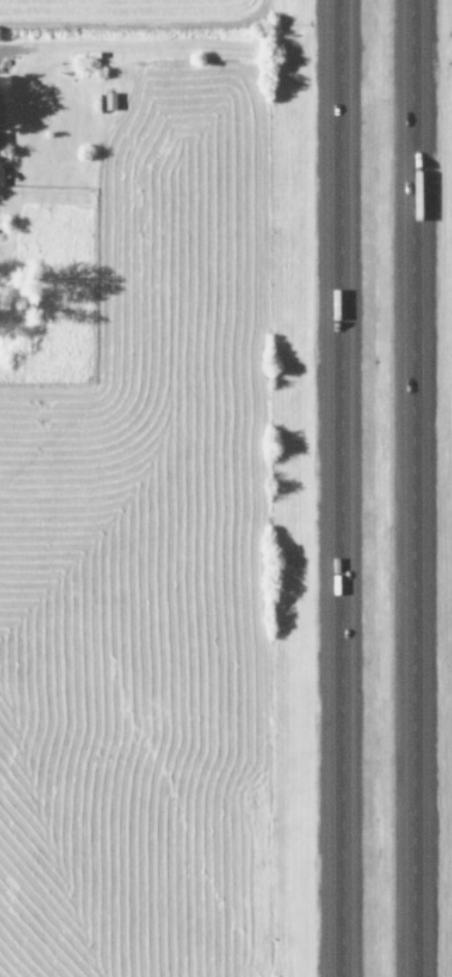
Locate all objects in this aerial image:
crop: (133, 488)
road: (352, 488)
road: (413, 488)

